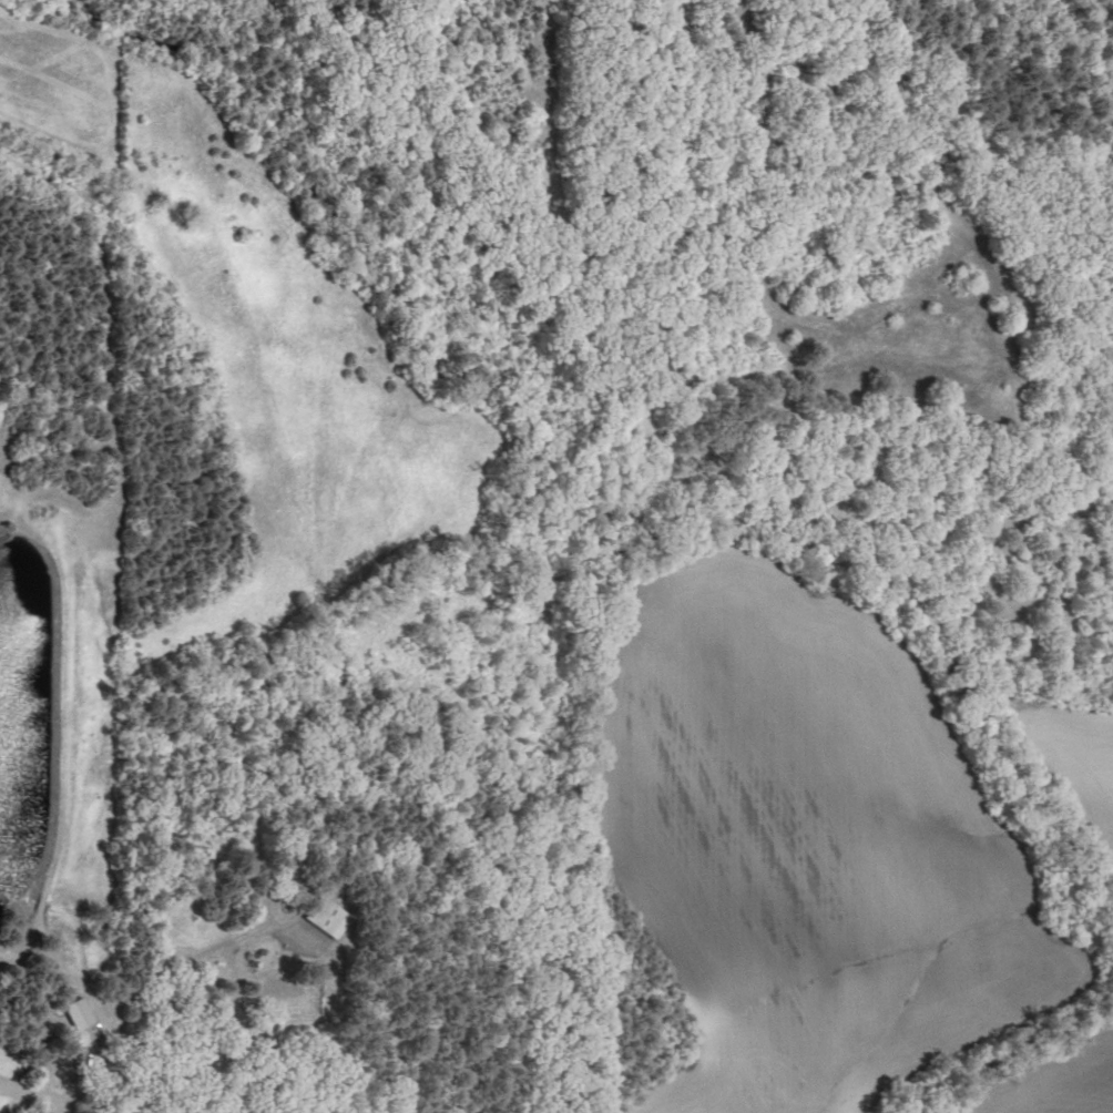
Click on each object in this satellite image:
building: (315, 917)
road: (64, 1111)

